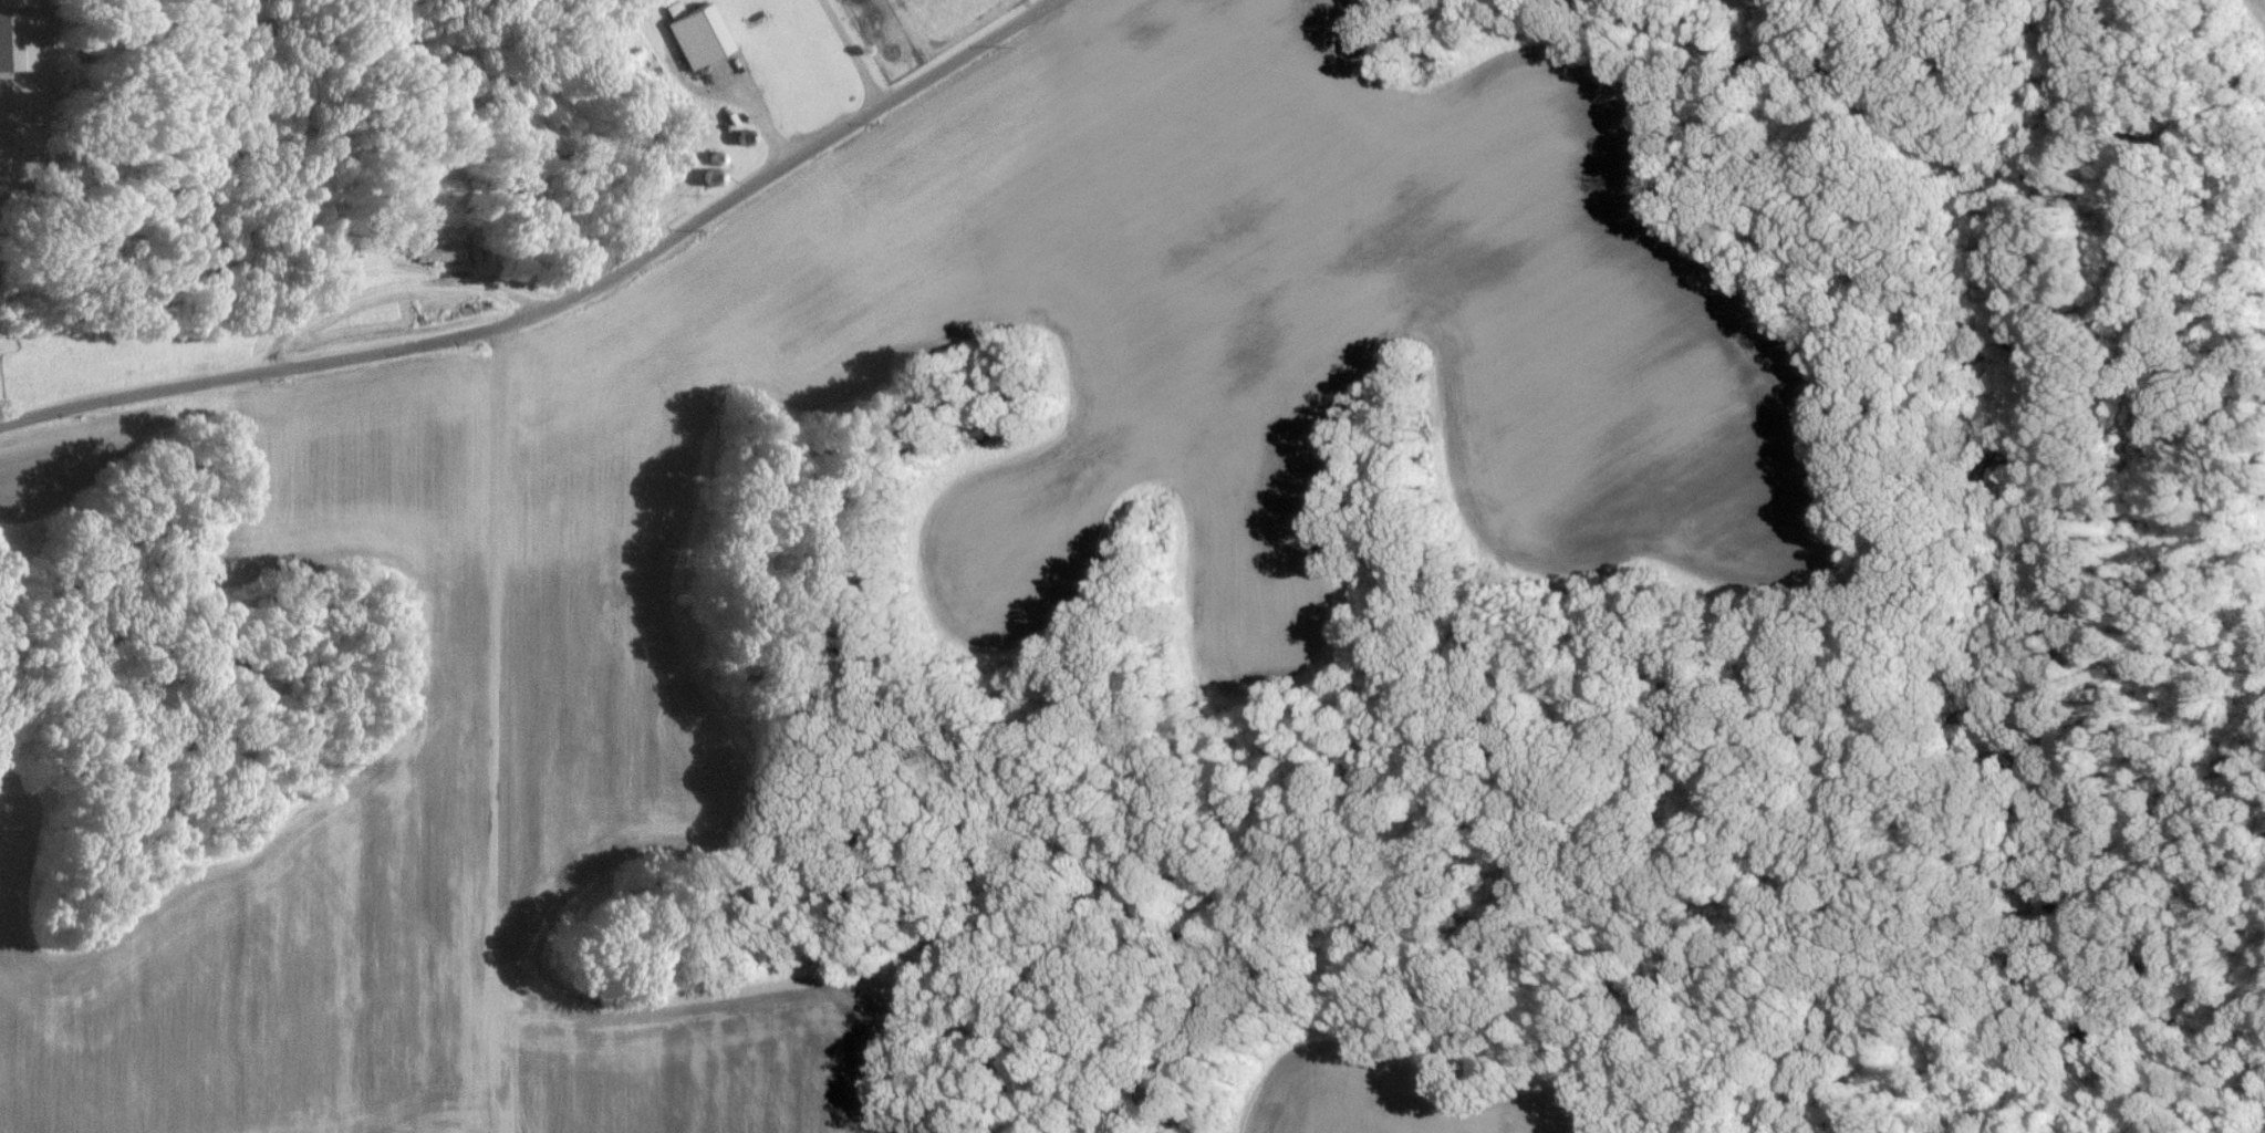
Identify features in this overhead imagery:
road: (1049, 2)
building: (696, 34)
building: (15, 40)
road: (844, 51)
building: (436, 251)
road: (558, 303)
road: (493, 667)

